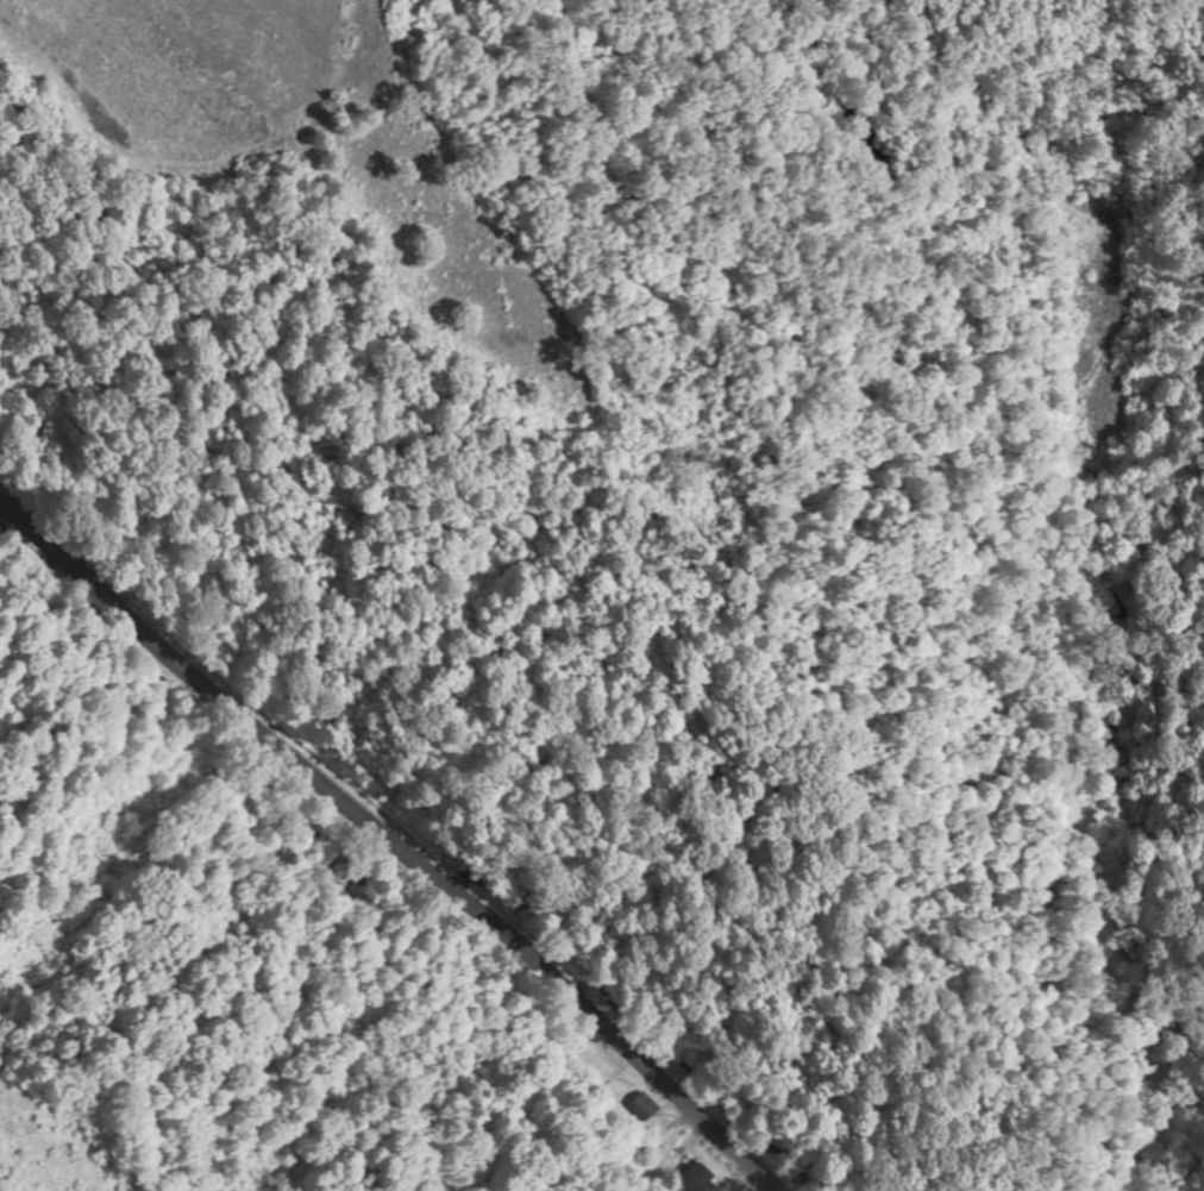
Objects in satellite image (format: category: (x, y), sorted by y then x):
road: (395, 841)
building: (645, 1103)
building: (701, 1177)

